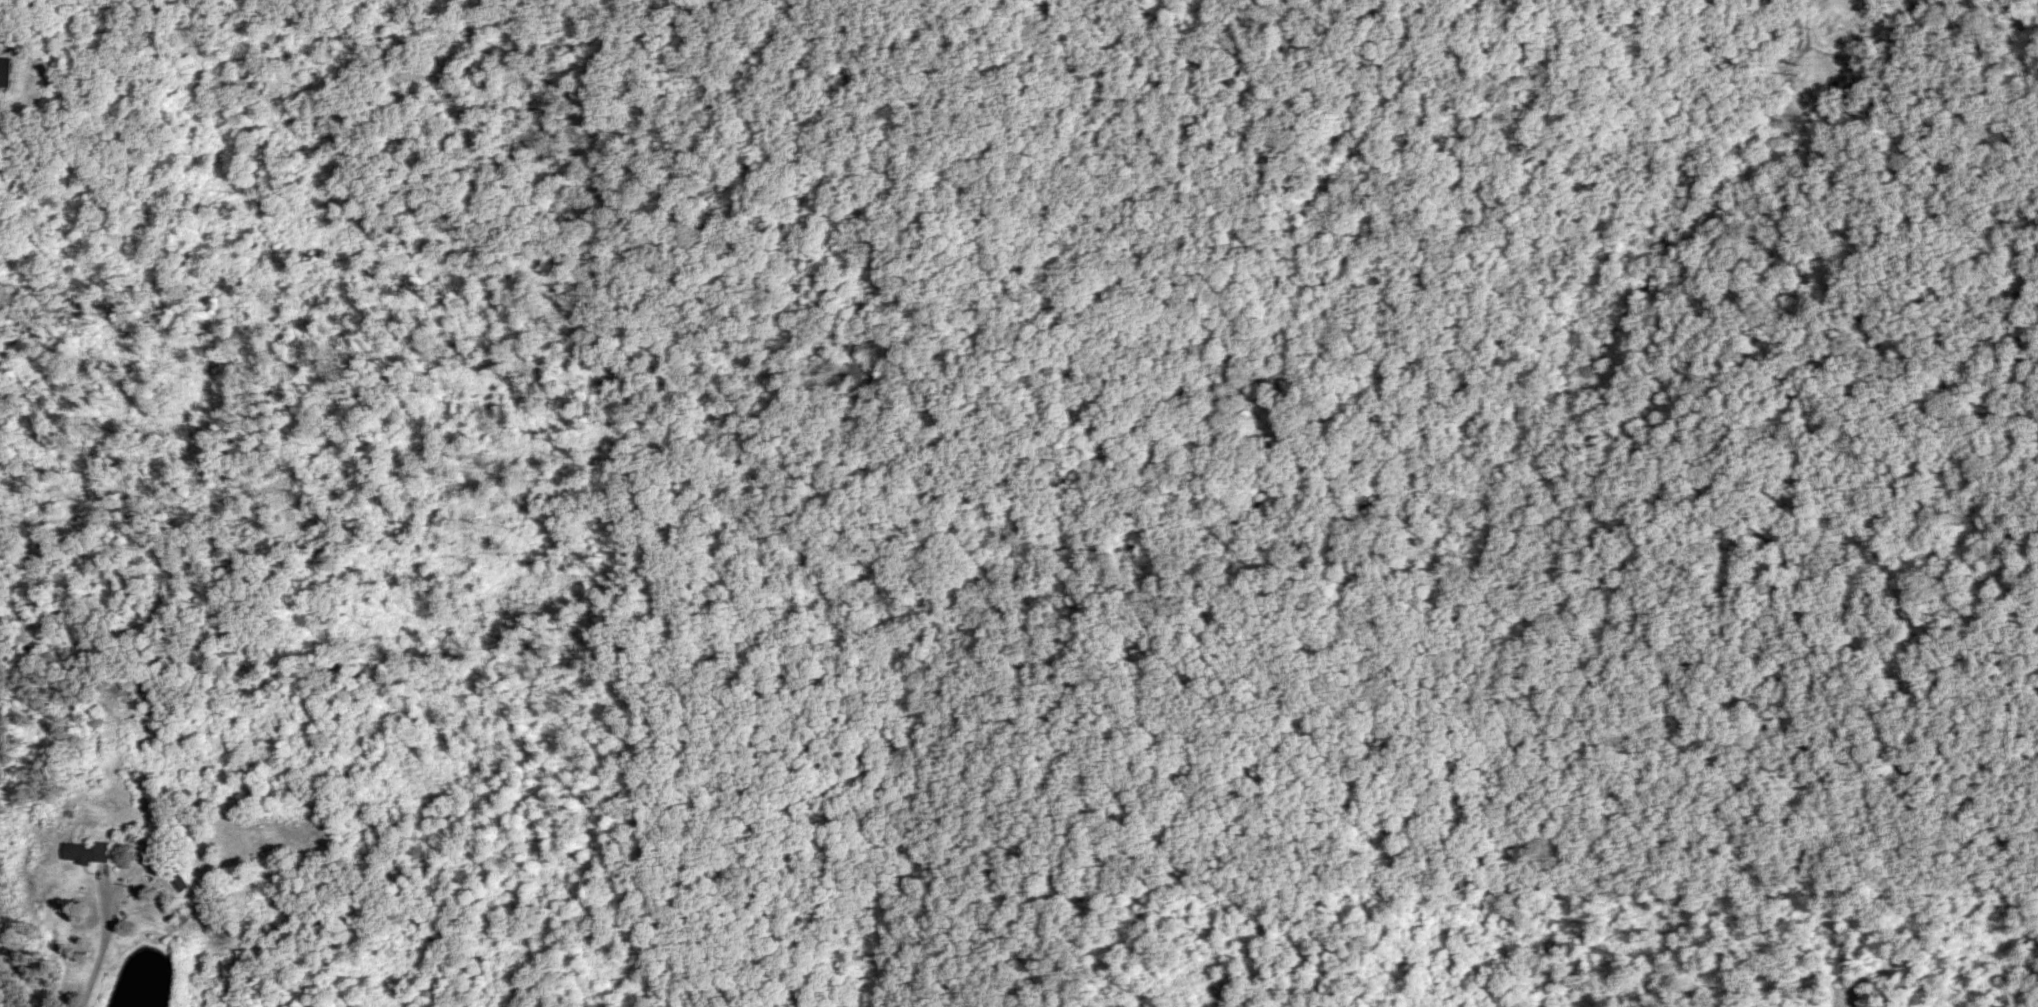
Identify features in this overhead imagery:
building: (6, 71)
road: (1276, 289)
building: (137, 837)
building: (90, 853)
building: (179, 881)
road: (107, 945)

